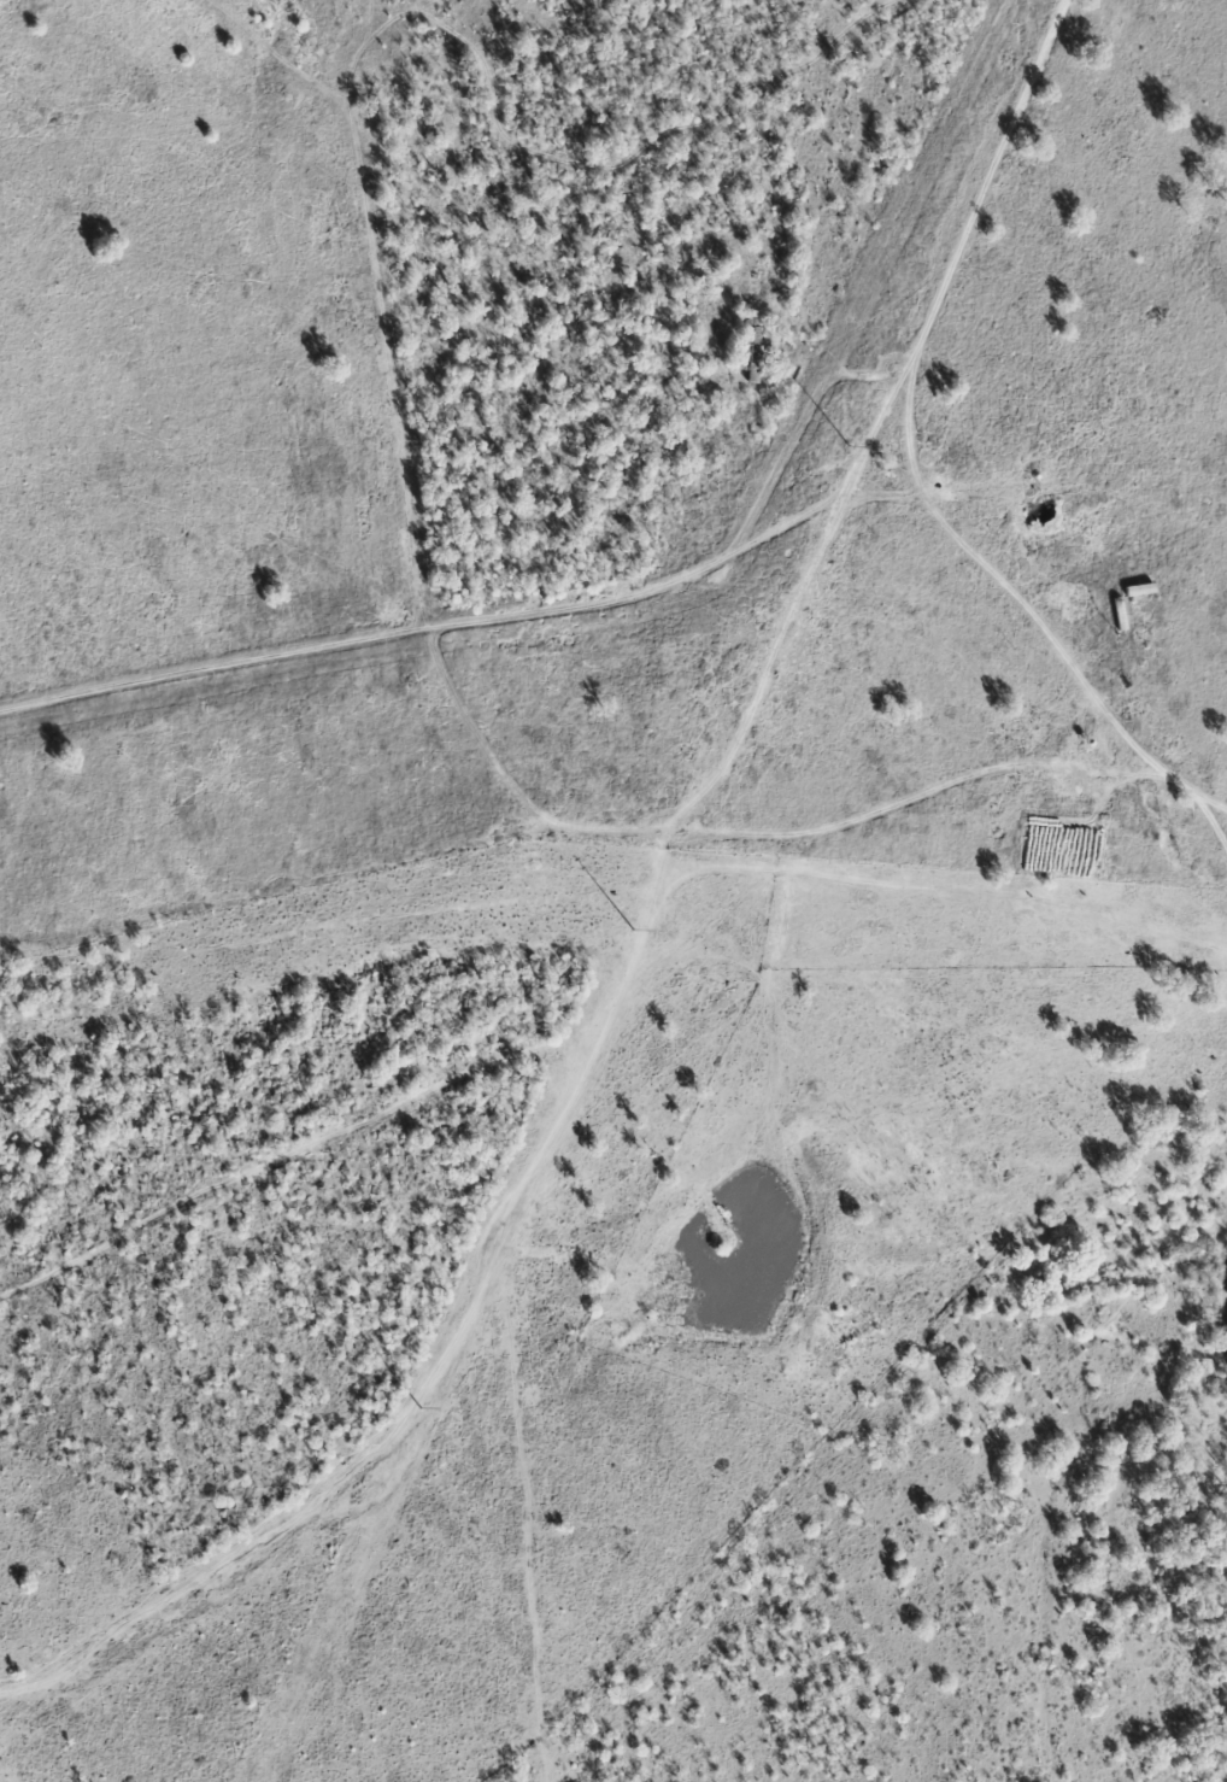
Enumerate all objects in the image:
road: (876, 426)
road: (1029, 612)

